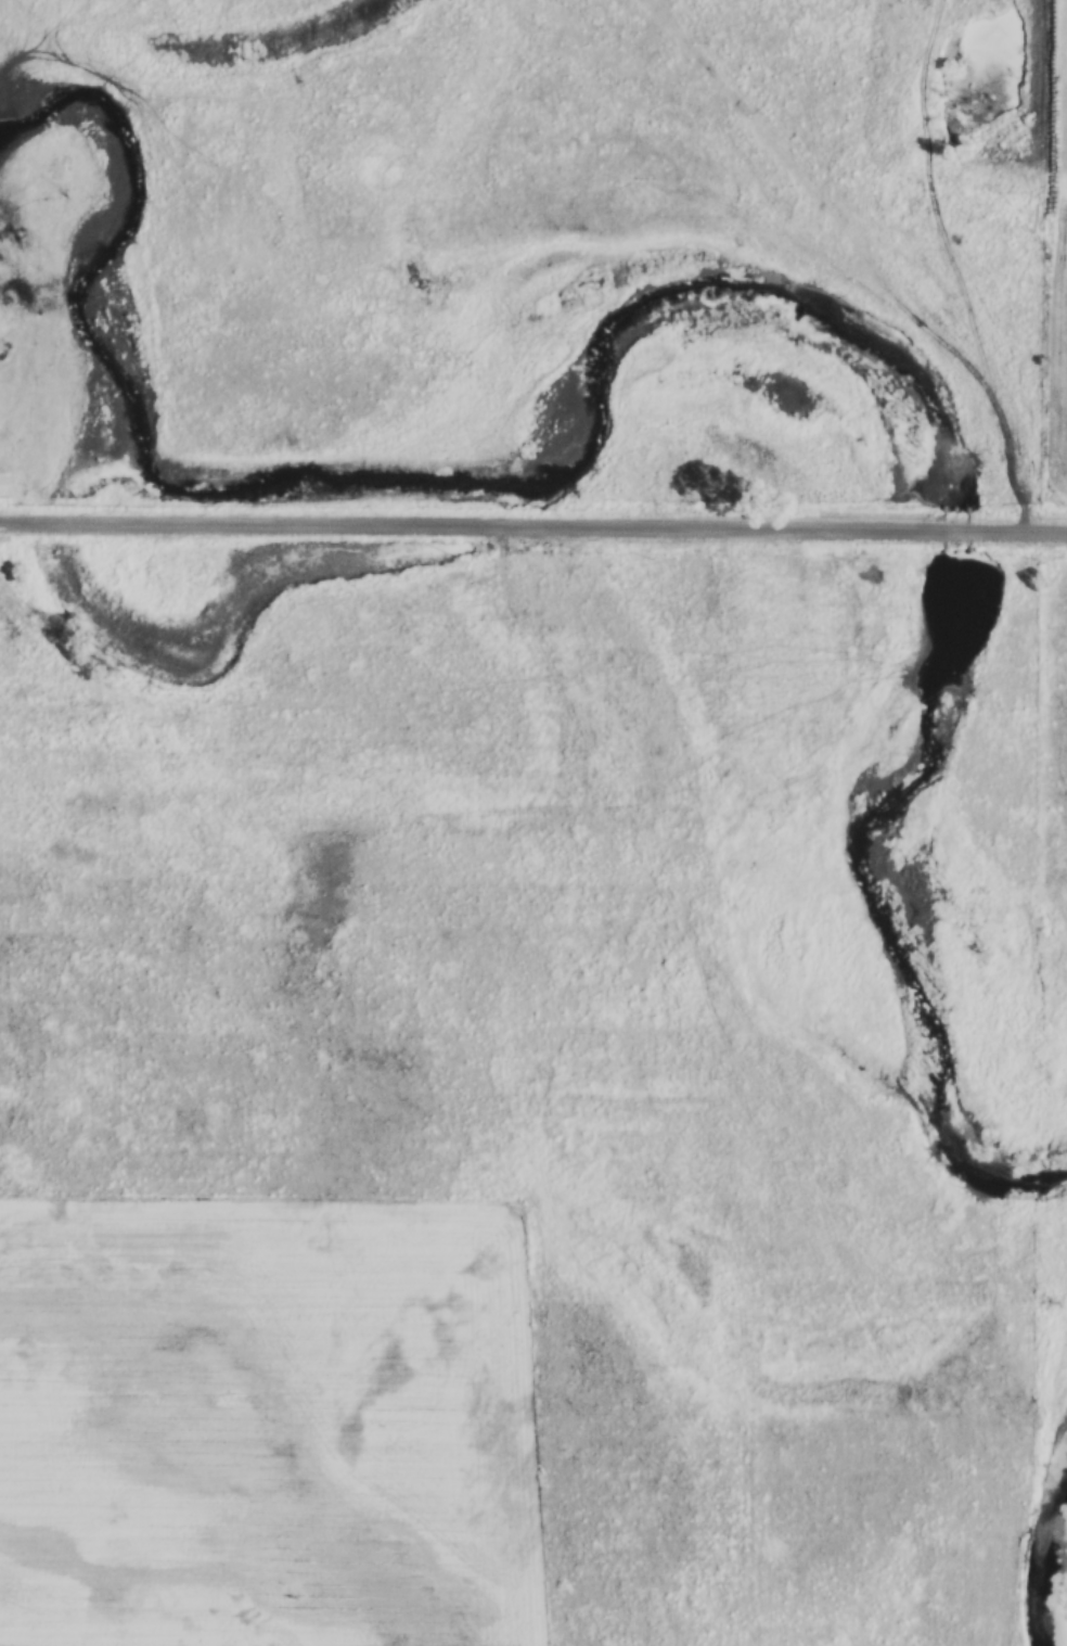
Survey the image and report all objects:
river: (423, 473)
road: (1026, 486)
road: (533, 525)
river: (957, 527)
river: (882, 926)
river: (1042, 1574)

